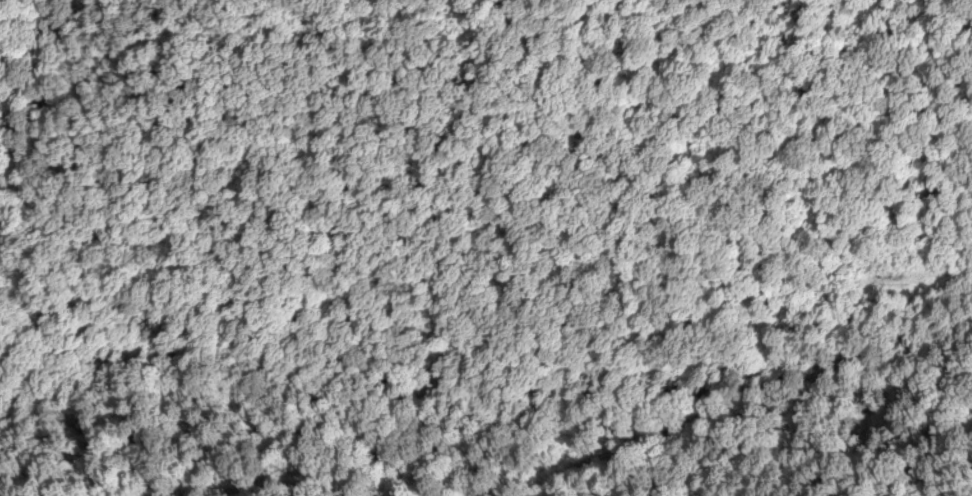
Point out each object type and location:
road: (485, 229)

